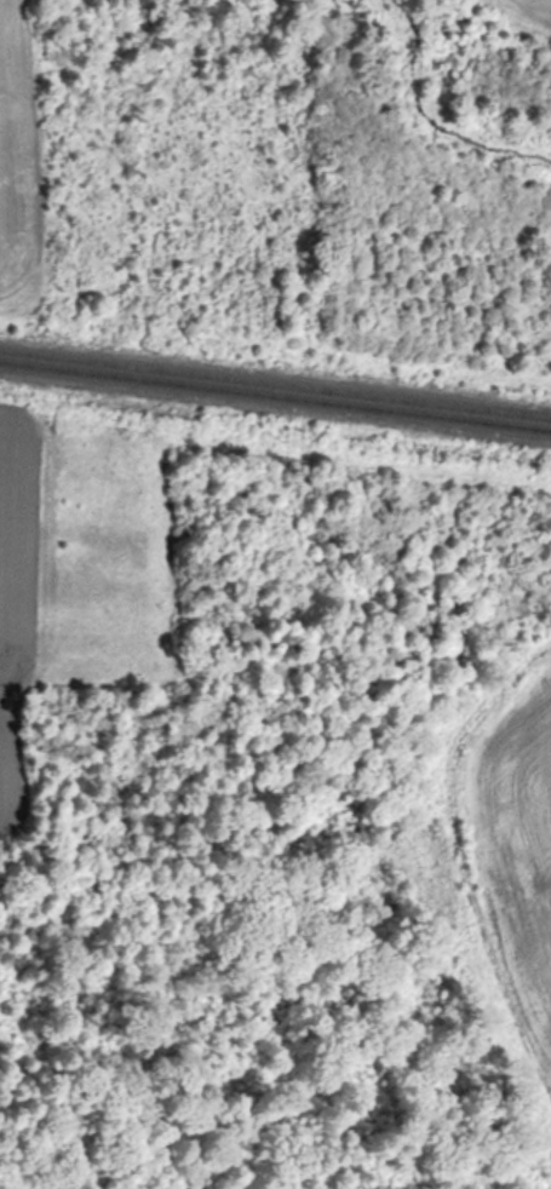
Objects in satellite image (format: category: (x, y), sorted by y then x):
river: (432, 65)
railway: (275, 385)
railway: (275, 396)

